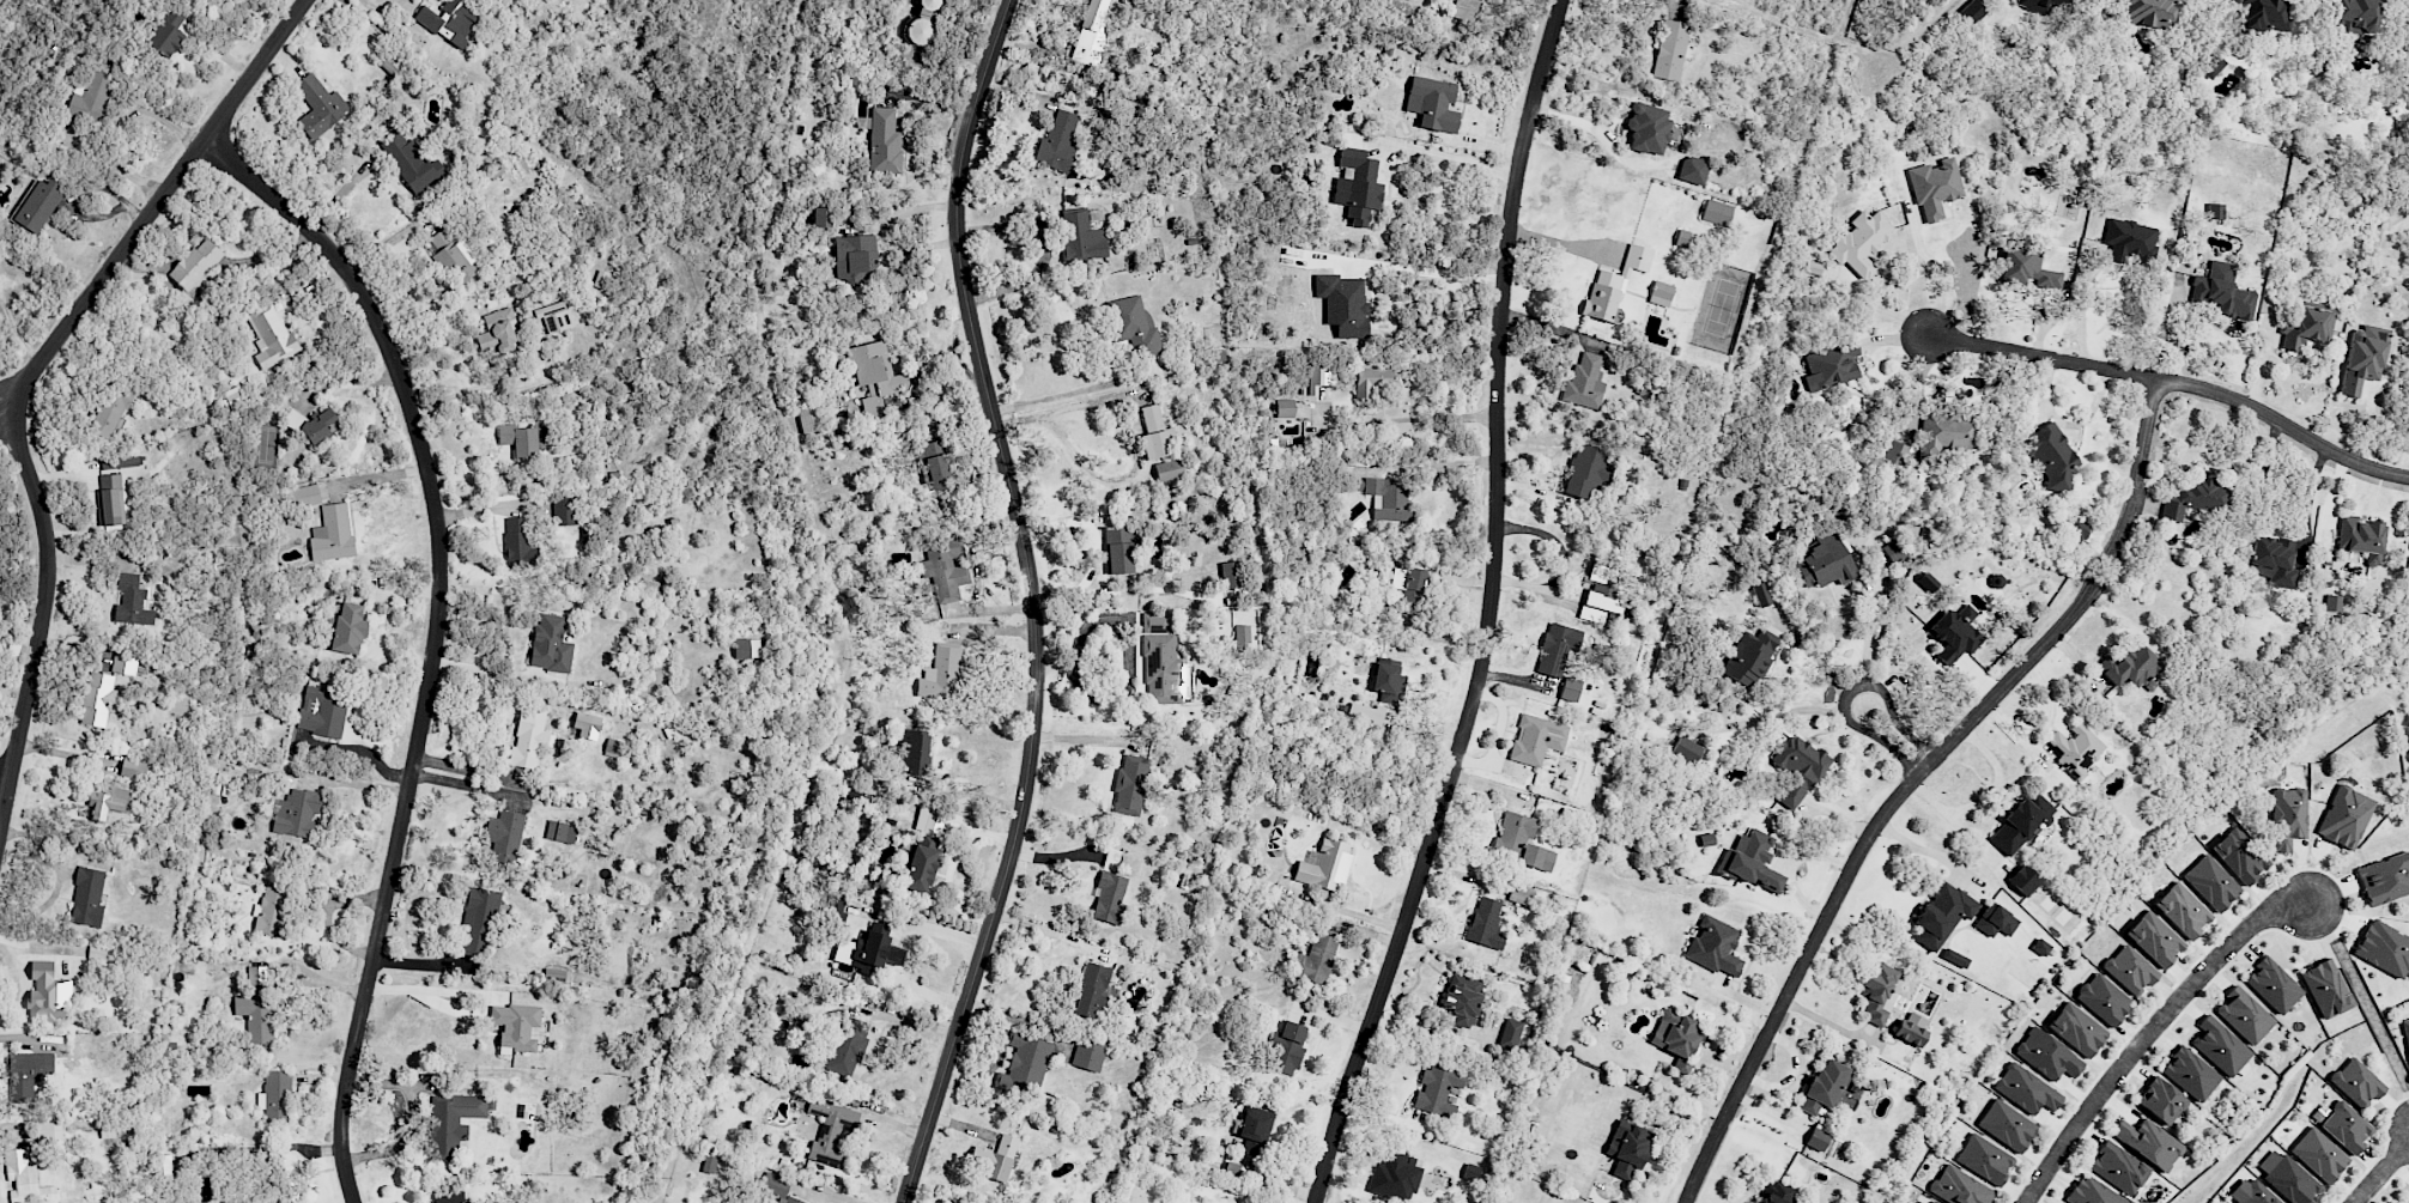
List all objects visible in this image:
building: (2058, 0)
building: (2035, 5)
road: (384, 6)
building: (1466, 10)
building: (1971, 12)
building: (2146, 12)
building: (2356, 16)
building: (2264, 17)
building: (450, 20)
building: (922, 23)
building: (1091, 34)
building: (165, 38)
building: (1670, 50)
building: (2213, 67)
building: (91, 97)
building: (1433, 103)
building: (318, 107)
building: (1650, 128)
building: (1058, 140)
building: (884, 141)
building: (411, 163)
road: (1446, 164)
building: (1693, 170)
building: (1359, 186)
building: (1934, 187)
building: (37, 205)
building: (2214, 211)
building: (1716, 213)
building: (823, 218)
building: (1081, 237)
building: (2129, 241)
building: (1861, 243)
building: (454, 255)
building: (855, 257)
building: (195, 265)
building: (1814, 268)
building: (2026, 269)
road: (1426, 271)
road: (2082, 278)
road: (1936, 281)
building: (1614, 285)
building: (2223, 291)
building: (1661, 293)
building: (1343, 304)
building: (557, 317)
building: (1133, 323)
building: (2307, 328)
building: (499, 332)
building: (271, 335)
building: (534, 357)
building: (2362, 358)
building: (1829, 366)
building: (874, 376)
building: (1319, 378)
road: (24, 379)
road: (2178, 379)
building: (1371, 382)
building: (1584, 382)
road: (479, 387)
road: (1066, 395)
building: (1284, 408)
road: (2, 414)
road: (1414, 420)
building: (104, 423)
building: (310, 424)
building: (1154, 433)
building: (1943, 435)
road: (1131, 438)
building: (520, 441)
building: (1895, 456)
building: (2050, 456)
building: (933, 464)
building: (1586, 469)
building: (304, 497)
building: (2196, 497)
building: (110, 499)
building: (1388, 499)
building: (564, 510)
building: (2075, 530)
building: (332, 533)
building: (2361, 537)
building: (517, 543)
building: (1118, 549)
building: (1894, 551)
building: (2274, 560)
building: (1821, 561)
building: (945, 569)
building: (1230, 575)
building: (1928, 582)
building: (1409, 588)
building: (1602, 594)
building: (1760, 594)
building: (133, 602)
road: (1031, 602)
building: (2334, 603)
road: (1489, 610)
building: (1157, 622)
building: (347, 628)
road: (1870, 634)
building: (1954, 634)
road: (436, 637)
building: (551, 645)
building: (747, 648)
building: (1557, 649)
road: (1820, 655)
building: (1749, 657)
building: (123, 664)
building: (2130, 666)
building: (1166, 672)
building: (941, 673)
building: (1389, 681)
building: (1570, 689)
building: (98, 699)
building: (322, 711)
building: (1363, 712)
building: (529, 736)
road: (1891, 736)
building: (1536, 740)
building: (2074, 747)
building: (914, 751)
building: (1686, 751)
building: (1798, 770)
road: (1917, 779)
road: (5, 784)
building: (1130, 785)
road: (465, 786)
road: (1989, 797)
building: (107, 802)
building: (297, 813)
building: (2287, 818)
building: (2344, 818)
building: (2021, 824)
building: (560, 832)
building: (504, 833)
building: (1706, 839)
building: (1521, 843)
building: (923, 850)
building: (2239, 855)
building: (1750, 861)
building: (1325, 865)
building: (2385, 879)
building: (2023, 880)
building: (2211, 882)
building: (1109, 891)
building: (87, 897)
building: (838, 907)
building: (2183, 910)
building: (273, 911)
building: (1942, 915)
building: (1995, 921)
building: (478, 922)
building: (1485, 923)
road: (1049, 929)
road: (939, 930)
building: (2154, 938)
building: (1715, 946)
building: (2040, 947)
building: (2384, 948)
building: (874, 953)
building: (1954, 958)
building: (1315, 960)
building: (2130, 970)
road: (12, 980)
building: (2273, 985)
building: (2325, 989)
building: (1092, 990)
road: (922, 991)
building: (1876, 991)
road: (427, 992)
building: (48, 994)
road: (2361, 994)
building: (1462, 998)
building: (2102, 1000)
building: (2244, 1015)
building: (515, 1026)
building: (1911, 1028)
building: (2076, 1029)
building: (2407, 1031)
road: (2148, 1032)
building: (1510, 1034)
building: (1676, 1037)
building: (845, 1046)
building: (2220, 1046)
building: (1288, 1047)
building: (1088, 1053)
building: (2046, 1055)
building: (1024, 1065)
building: (29, 1073)
building: (2190, 1074)
building: (2356, 1083)
building: (1825, 1087)
building: (2026, 1089)
building: (1438, 1090)
building: (275, 1096)
building: (2161, 1100)
road: (411, 1117)
building: (453, 1122)
building: (2006, 1125)
building: (831, 1126)
building: (2346, 1128)
building: (54, 1130)
building: (1255, 1130)
building: (1818, 1140)
building: (2148, 1142)
building: (1627, 1148)
building: (2319, 1154)
building: (995, 1158)
building: (1984, 1159)
building: (165, 1166)
building: (2118, 1167)
building: (1232, 1169)
road: (2380, 1172)
building: (1395, 1177)
building: (24, 1178)
building: (2290, 1181)
building: (1959, 1186)
building: (778, 1187)
building: (2092, 1192)
building: (2251, 1192)
building: (1779, 1193)
building: (448, 1198)
building: (1934, 1202)

